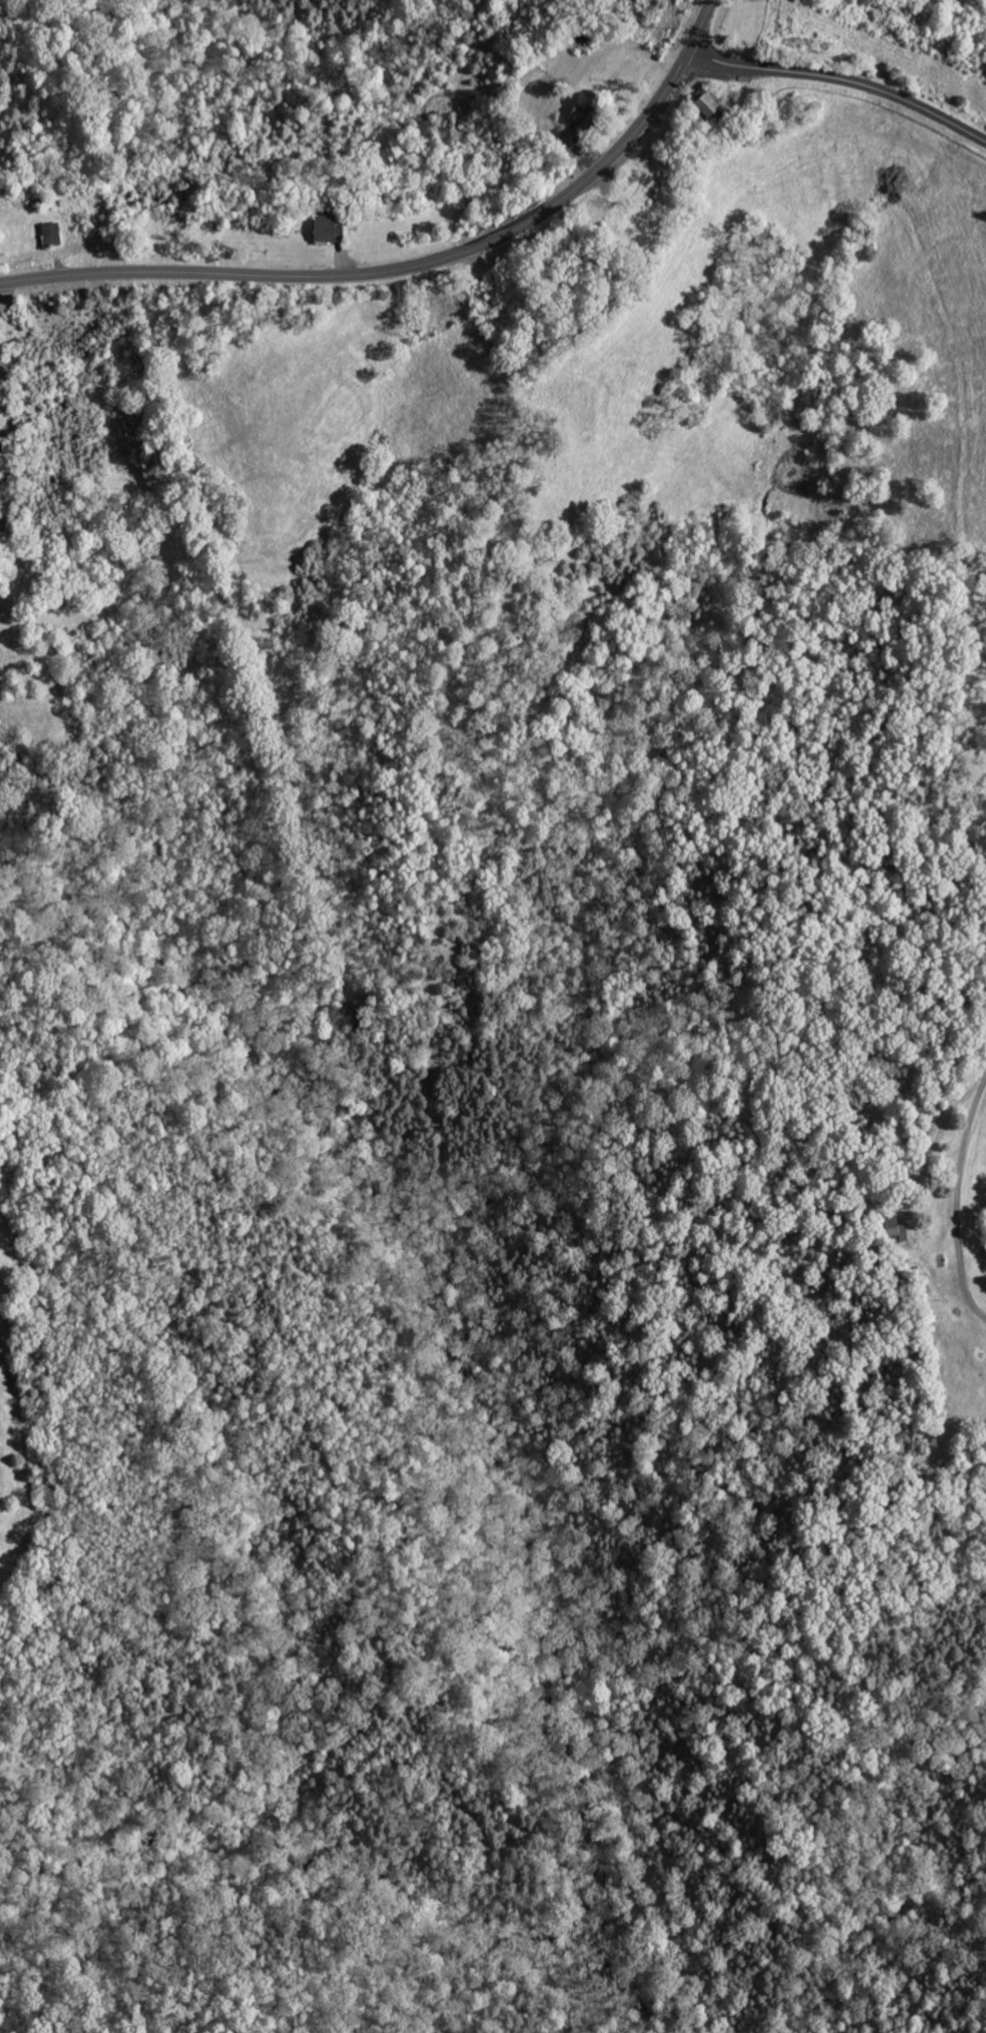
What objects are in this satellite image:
road: (701, 24)
road: (842, 80)
building: (586, 116)
building: (333, 229)
building: (55, 234)
road: (388, 270)
road: (954, 1152)
building: (893, 1230)

